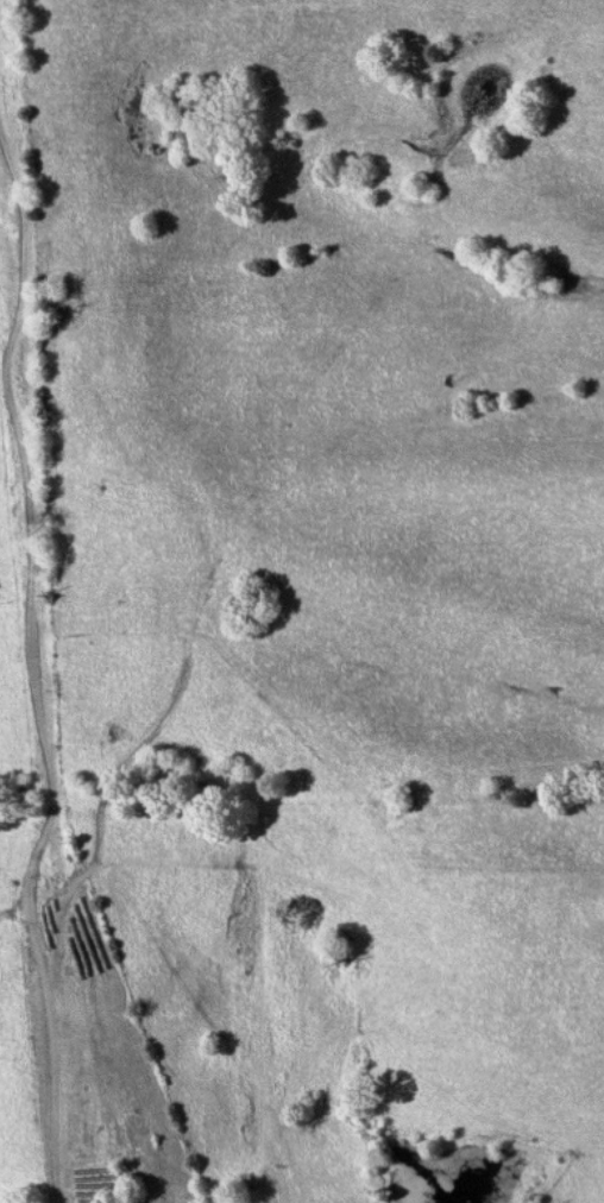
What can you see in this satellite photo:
road: (32, 654)

